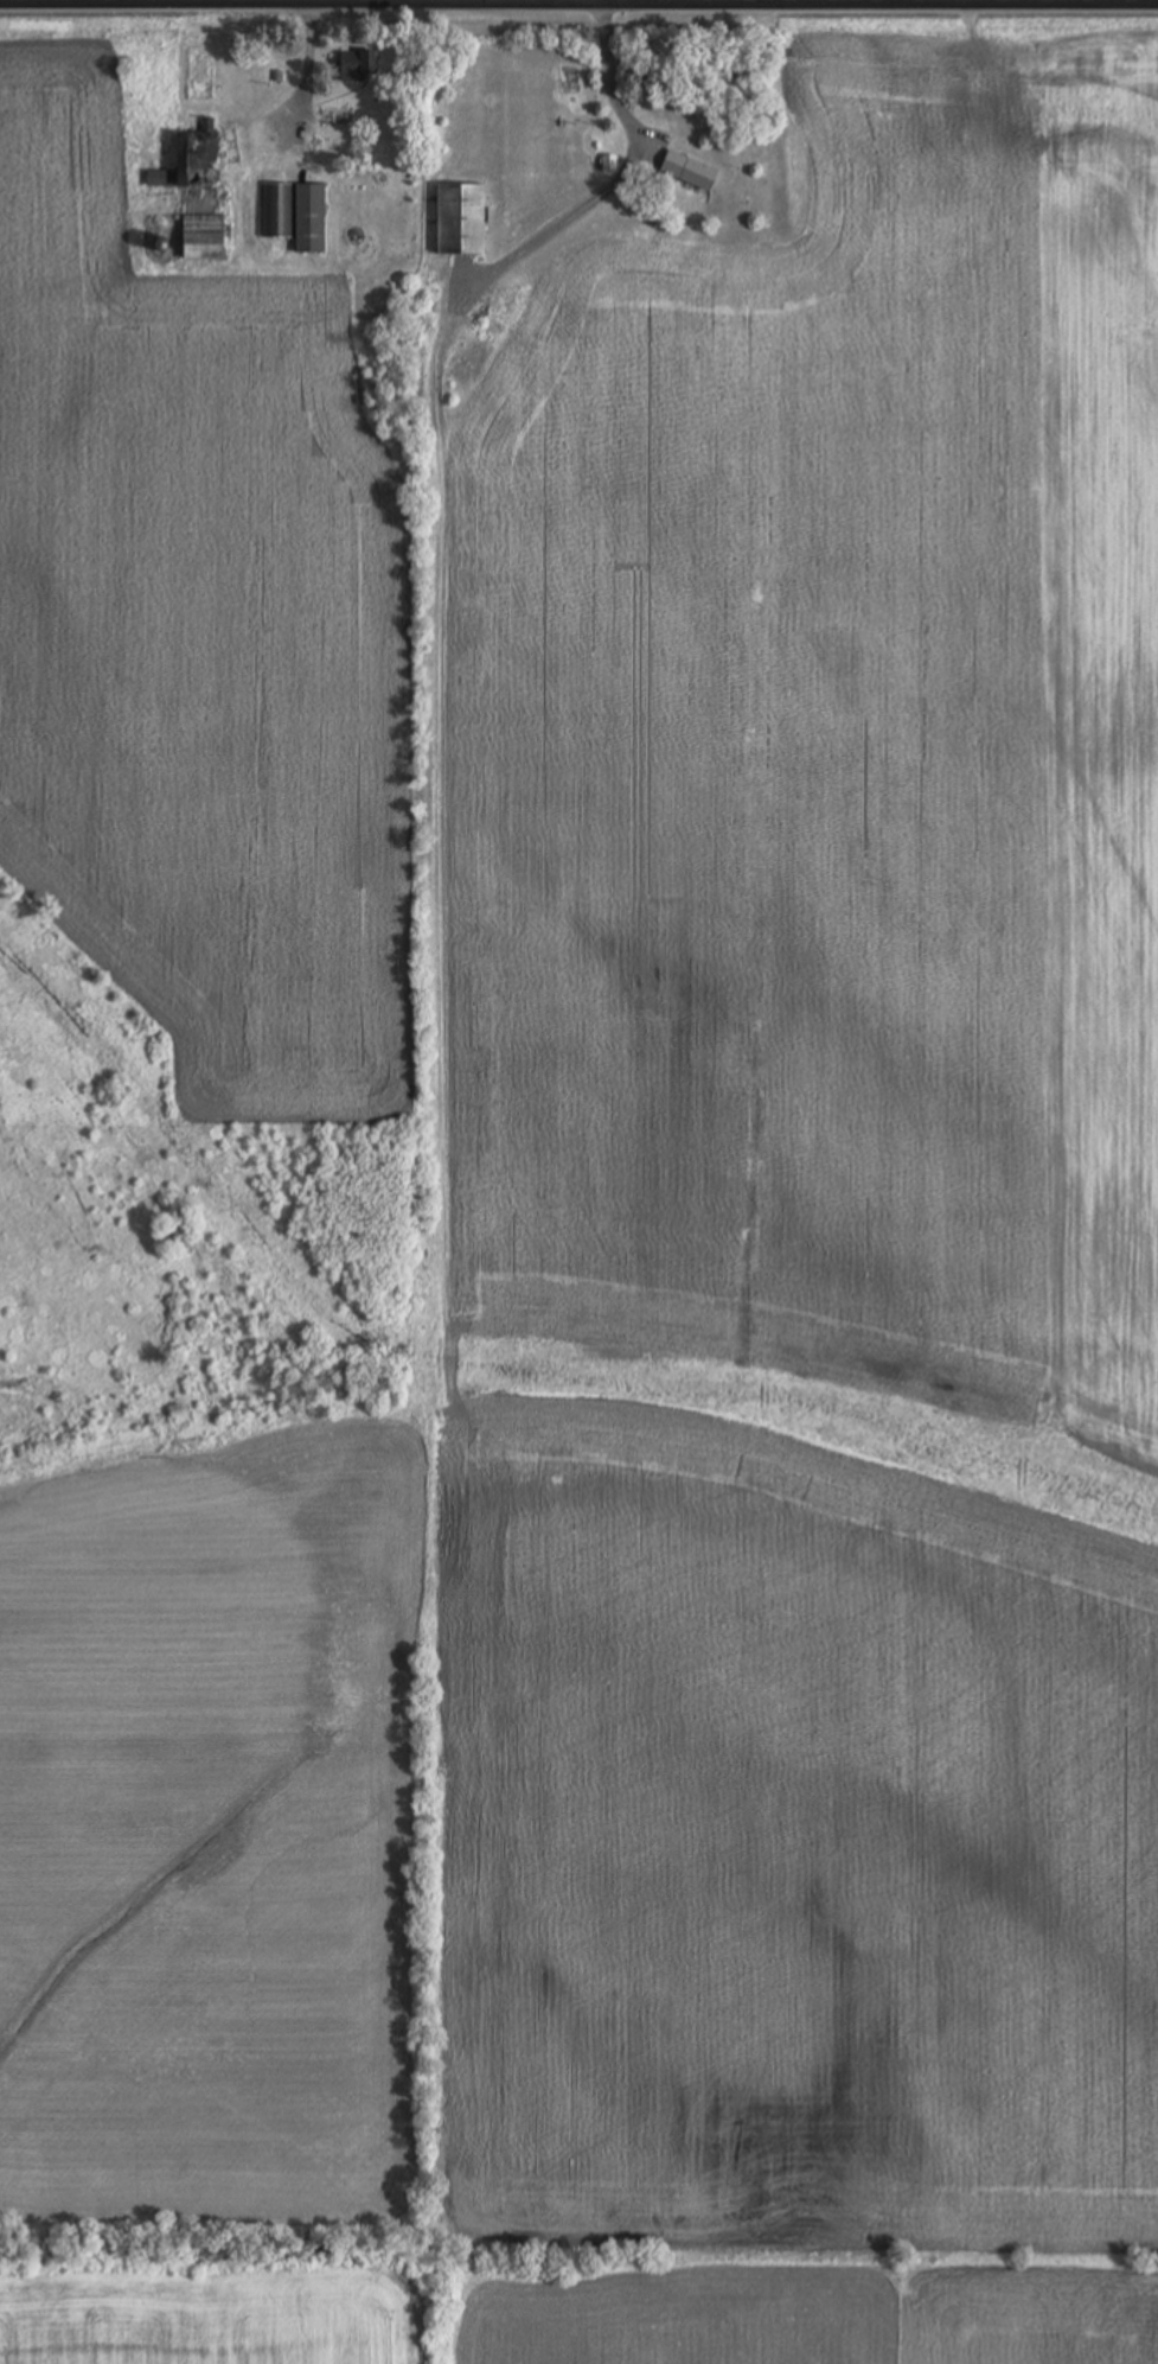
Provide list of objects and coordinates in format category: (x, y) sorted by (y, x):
building: (358, 66)
building: (337, 116)
building: (196, 161)
building: (689, 171)
building: (277, 212)
building: (311, 219)
building: (461, 221)
building: (204, 237)

